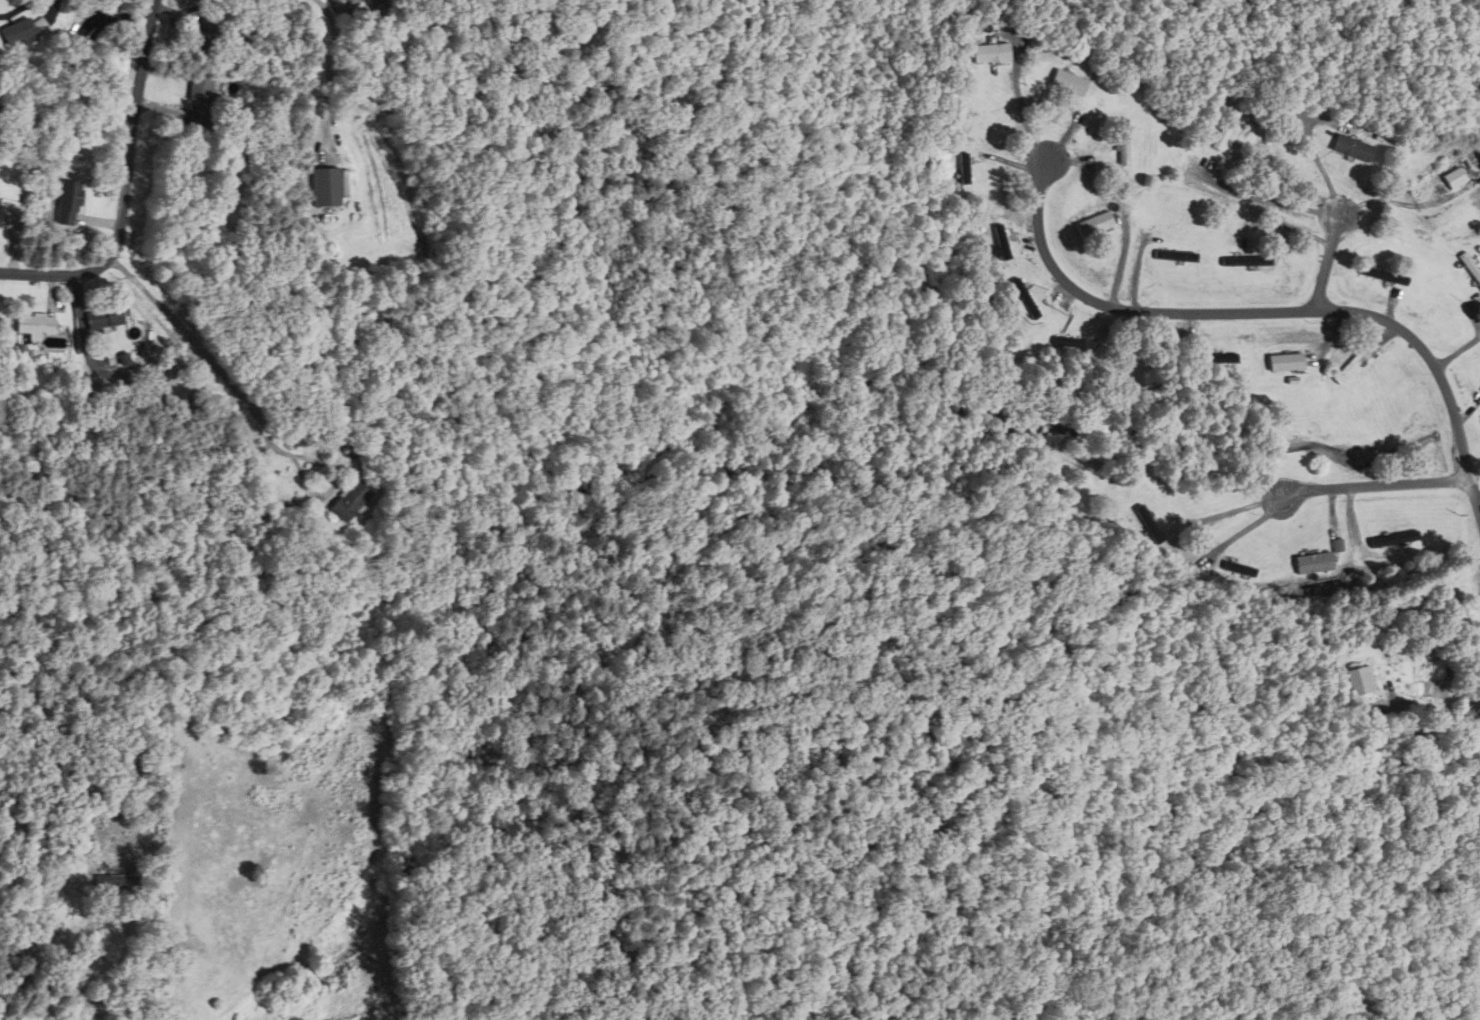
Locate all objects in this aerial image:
building: (19, 32)
building: (205, 32)
building: (990, 53)
building: (68, 64)
building: (1065, 83)
building: (201, 101)
building: (1223, 133)
building: (1124, 145)
building: (1353, 148)
building: (962, 168)
building: (1458, 178)
road: (126, 186)
building: (330, 187)
building: (70, 203)
building: (1, 209)
building: (1095, 228)
building: (1000, 244)
building: (1180, 255)
road: (1328, 261)
building: (1474, 261)
building: (1246, 262)
building: (1384, 275)
road: (1263, 312)
building: (104, 318)
building: (37, 325)
building: (1069, 343)
road: (203, 350)
road: (1457, 352)
building: (1225, 360)
building: (1290, 364)
building: (1358, 365)
road: (1380, 486)
building: (352, 502)
building: (1404, 542)
building: (1324, 565)
building: (1362, 681)
building: (121, 877)

